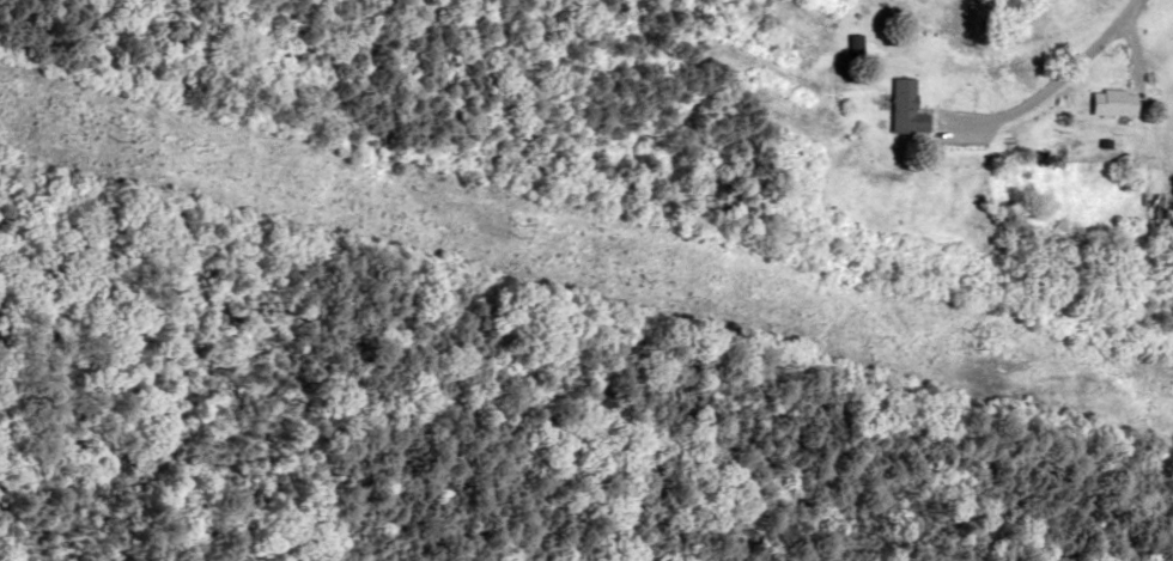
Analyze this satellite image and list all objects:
building: (1102, 100)
building: (894, 102)

